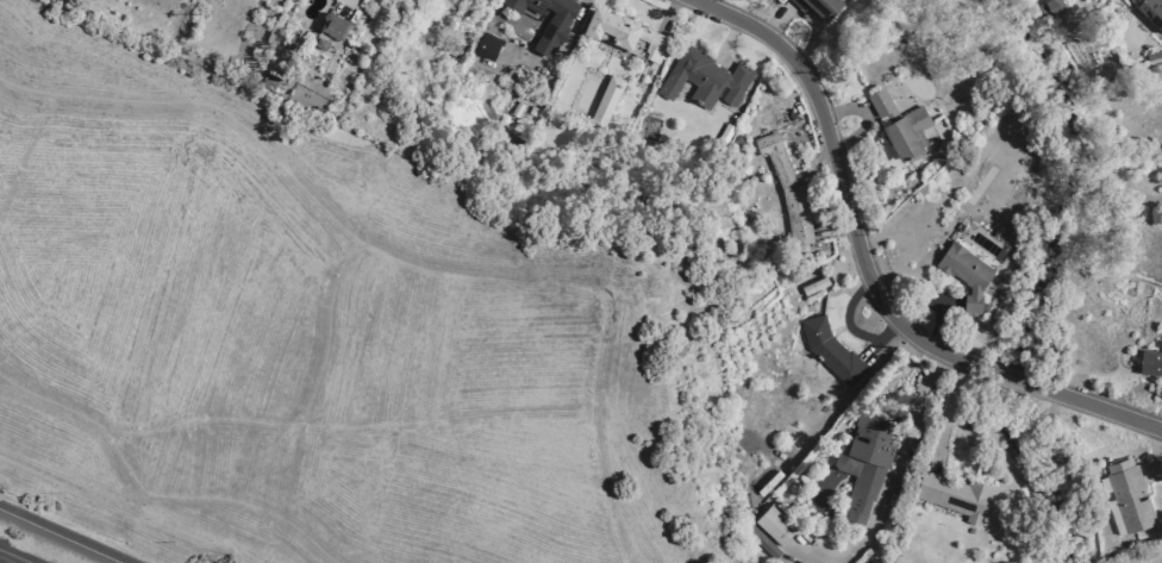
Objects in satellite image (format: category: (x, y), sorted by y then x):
road: (352, 5)
road: (717, 5)
building: (818, 7)
building: (1049, 7)
building: (1151, 11)
road: (668, 13)
road: (777, 23)
building: (333, 25)
building: (625, 35)
building: (551, 36)
road: (729, 38)
building: (488, 46)
road: (807, 48)
building: (1157, 52)
road: (554, 61)
building: (704, 79)
building: (268, 81)
building: (608, 95)
building: (881, 102)
building: (517, 110)
road: (842, 112)
building: (496, 120)
building: (906, 132)
road: (821, 168)
building: (787, 189)
road: (843, 192)
road: (835, 224)
road: (407, 264)
building: (966, 271)
building: (814, 284)
road: (937, 304)
road: (846, 318)
road: (329, 333)
park: (321, 336)
road: (883, 339)
building: (831, 350)
building: (1150, 362)
road: (1012, 379)
road: (1092, 406)
road: (948, 408)
road: (346, 427)
road: (1154, 452)
road: (899, 461)
building: (867, 465)
road: (154, 494)
building: (1129, 494)
building: (955, 495)
building: (749, 502)
road: (133, 519)
building: (774, 526)
road: (80, 527)
road: (55, 538)
building: (770, 551)
road: (800, 557)
road: (1, 562)

